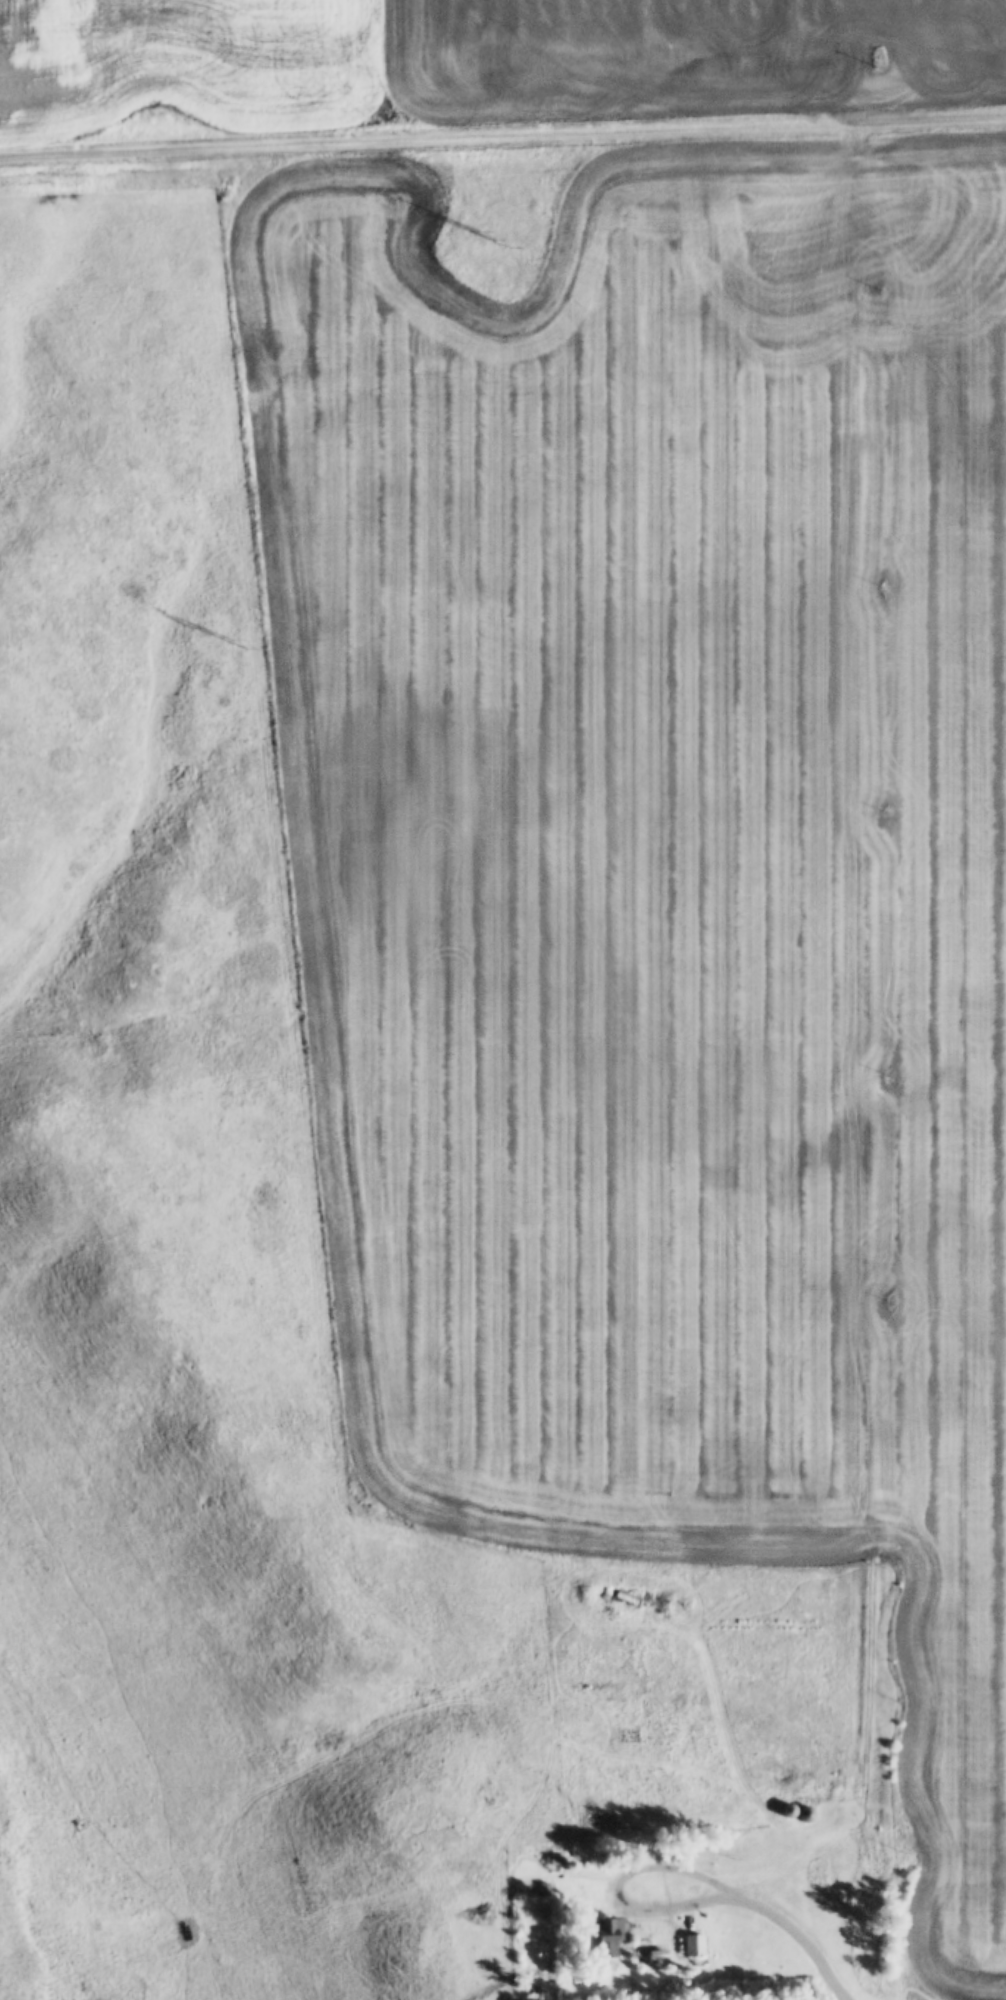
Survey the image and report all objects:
road: (502, 132)
power tower: (490, 234)
power tower: (235, 639)
road: (874, 1062)
building: (788, 1810)
building: (806, 1812)
road: (614, 1881)
building: (609, 1935)
road: (804, 1936)
building: (693, 1943)
building: (649, 1953)

